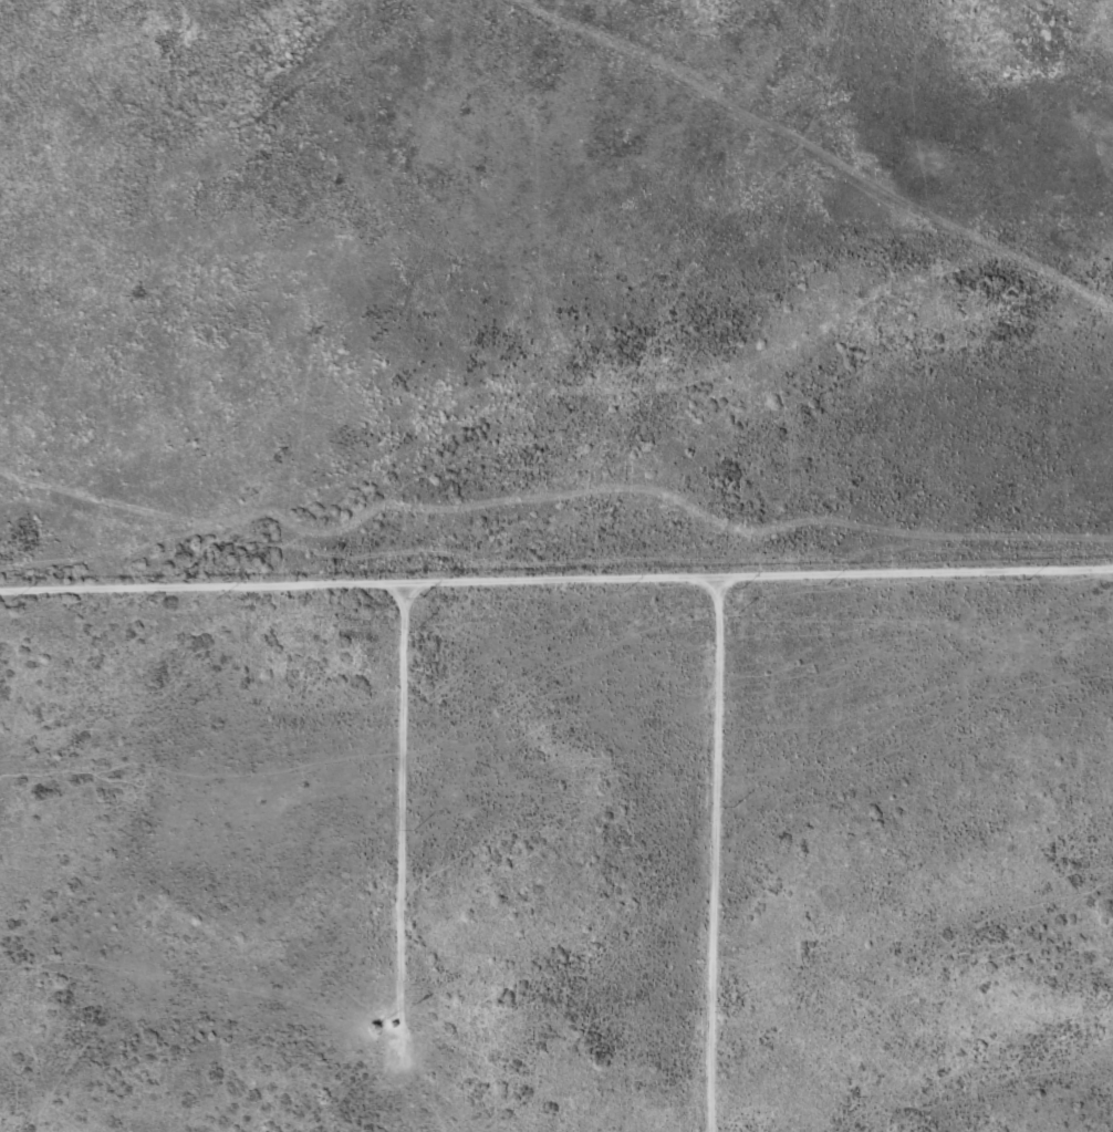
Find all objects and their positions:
road: (555, 579)

